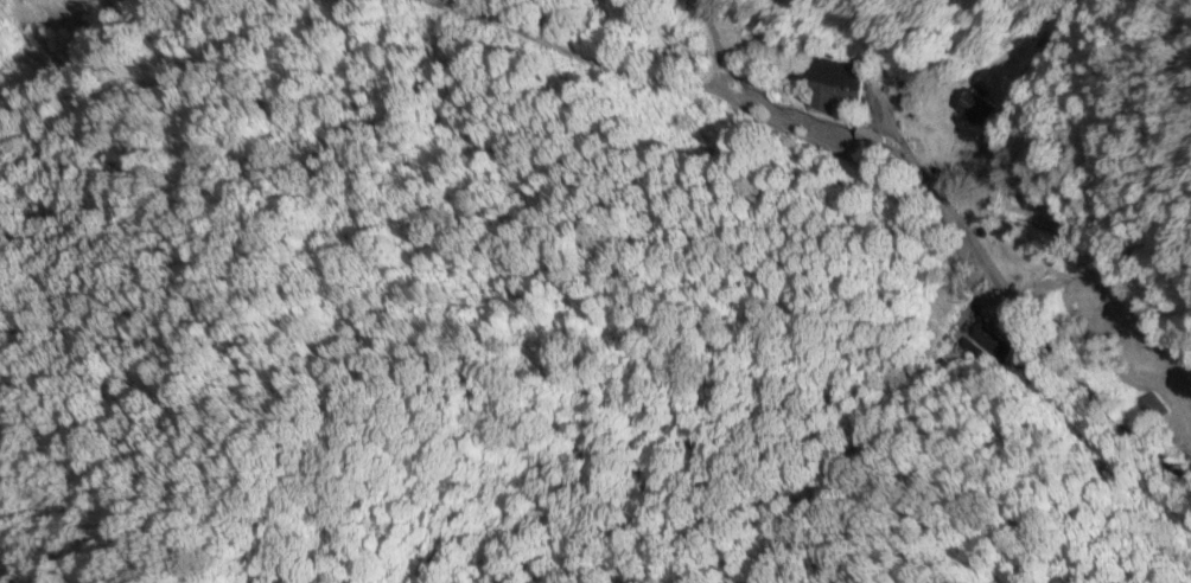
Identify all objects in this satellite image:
building: (840, 82)
building: (982, 109)
road: (964, 278)
building: (1153, 410)

